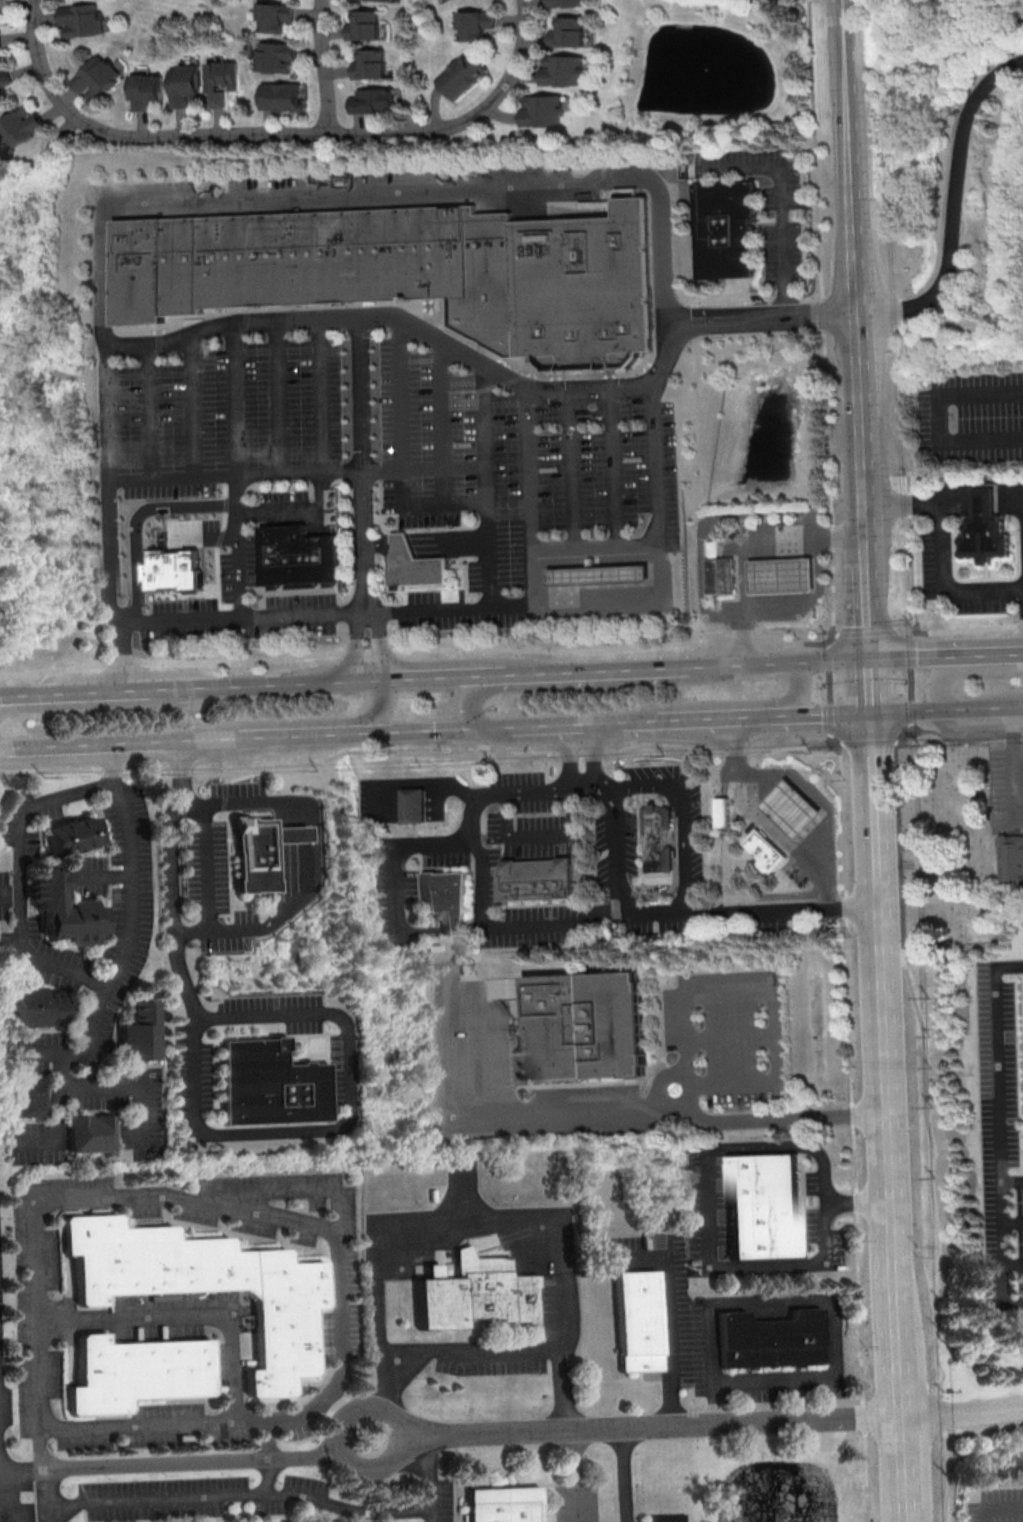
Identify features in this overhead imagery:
building: (388, 0)
building: (564, 2)
building: (267, 16)
building: (73, 20)
building: (474, 24)
building: (362, 25)
building: (567, 32)
building: (268, 55)
building: (367, 64)
road: (318, 66)
building: (560, 69)
building: (460, 73)
building: (87, 76)
building: (1, 78)
building: (210, 80)
building: (174, 83)
building: (136, 89)
building: (274, 96)
building: (367, 99)
building: (542, 109)
building: (14, 125)
road: (270, 134)
road: (850, 155)
road: (376, 196)
parking lot: (766, 203)
road: (778, 204)
road: (955, 205)
building: (727, 229)
building: (411, 273)
road: (43, 274)
road: (901, 317)
road: (822, 318)
road: (494, 376)
road: (979, 392)
road: (273, 396)
road: (185, 408)
road: (146, 414)
parking lot: (971, 414)
road: (316, 415)
road: (863, 422)
road: (438, 424)
road: (956, 439)
road: (399, 454)
road: (615, 465)
road: (360, 466)
road: (570, 467)
road: (234, 471)
road: (295, 471)
parking lot: (375, 471)
road: (483, 488)
road: (529, 500)
road: (902, 504)
road: (762, 511)
road: (278, 514)
road: (136, 517)
parking lot: (771, 525)
building: (987, 531)
road: (205, 537)
road: (938, 537)
road: (743, 541)
road: (595, 542)
parking lot: (931, 552)
building: (301, 558)
building: (414, 565)
building: (170, 568)
road: (711, 568)
building: (712, 568)
road: (699, 574)
building: (602, 575)
gas station: (602, 575)
building: (726, 576)
building: (783, 576)
gas station: (783, 576)
road: (871, 597)
road: (624, 603)
road: (810, 603)
road: (712, 604)
road: (115, 613)
road: (959, 629)
road: (866, 632)
road: (906, 632)
road: (827, 641)
road: (356, 645)
road: (379, 645)
road: (420, 648)
road: (1000, 654)
road: (124, 655)
road: (926, 657)
road: (832, 659)
traffic signals: (874, 659)
road: (766, 663)
road: (710, 667)
road: (586, 671)
road: (943, 673)
road: (437, 676)
road: (369, 679)
road: (909, 679)
road: (260, 684)
road: (874, 686)
road: (828, 688)
road: (797, 689)
road: (87, 691)
road: (6, 695)
road: (6, 699)
road: (470, 704)
road: (988, 706)
road: (378, 708)
road: (914, 710)
traffic signals: (875, 713)
road: (828, 714)
road: (719, 717)
road: (583, 724)
road: (1016, 724)
road: (503, 728)
road: (1011, 728)
traffic signals: (496, 729)
road: (907, 729)
road: (927, 729)
road: (427, 730)
road: (968, 732)
road: (302, 735)
road: (212, 741)
road: (903, 742)
road: (798, 744)
road: (830, 744)
road: (869, 744)
road: (90, 747)
road: (592, 755)
road: (567, 756)
road: (427, 780)
road: (722, 784)
parking lot: (1007, 785)
road: (581, 787)
road: (603, 787)
building: (974, 787)
road: (1012, 787)
parking lot: (239, 793)
road: (821, 799)
road: (377, 801)
building: (413, 804)
road: (755, 805)
building: (790, 805)
gas station: (790, 805)
road: (570, 810)
building: (723, 811)
road: (723, 811)
road: (468, 816)
road: (683, 817)
building: (294, 835)
road: (516, 836)
building: (76, 837)
building: (659, 838)
park: (946, 845)
road: (613, 848)
parking lot: (545, 850)
building: (765, 850)
road: (294, 851)
building: (257, 857)
building: (1010, 859)
road: (723, 869)
parking lot: (796, 873)
building: (536, 878)
road: (20, 880)
parking lot: (216, 891)
road: (392, 893)
road: (10, 895)
building: (447, 900)
road: (132, 904)
road: (748, 910)
building: (66, 911)
road: (550, 922)
road: (262, 928)
road: (192, 932)
road: (725, 988)
building: (36, 1010)
road: (337, 1016)
parking lot: (723, 1025)
building: (588, 1027)
building: (139, 1034)
road: (729, 1036)
road: (490, 1038)
road: (41, 1053)
road: (87, 1057)
road: (725, 1081)
building: (272, 1085)
road: (140, 1095)
building: (31, 1100)
road: (57, 1109)
road: (487, 1113)
road: (889, 1117)
road: (773, 1119)
road: (996, 1127)
road: (928, 1133)
building: (93, 1135)
parking lot: (1000, 1135)
road: (36, 1144)
road: (707, 1180)
road: (1010, 1180)
road: (464, 1189)
building: (766, 1207)
road: (281, 1216)
road: (1011, 1223)
road: (551, 1236)
road: (1012, 1264)
building: (207, 1285)
building: (475, 1293)
parking lot: (31, 1300)
road: (772, 1301)
road: (673, 1309)
parking lot: (551, 1310)
road: (184, 1316)
building: (641, 1322)
building: (773, 1341)
parking lot: (489, 1365)
building: (138, 1372)
road: (773, 1378)
road: (561, 1386)
road: (339, 1405)
road: (963, 1414)
road: (385, 1417)
road: (648, 1426)
road: (267, 1439)
road: (172, 1464)
road: (622, 1474)
road: (571, 1475)
road: (267, 1476)
road: (426, 1477)
road: (239, 1494)
road: (48, 1496)
building: (504, 1504)
road: (995, 1508)
building: (664, 1519)
building: (329, 1521)

